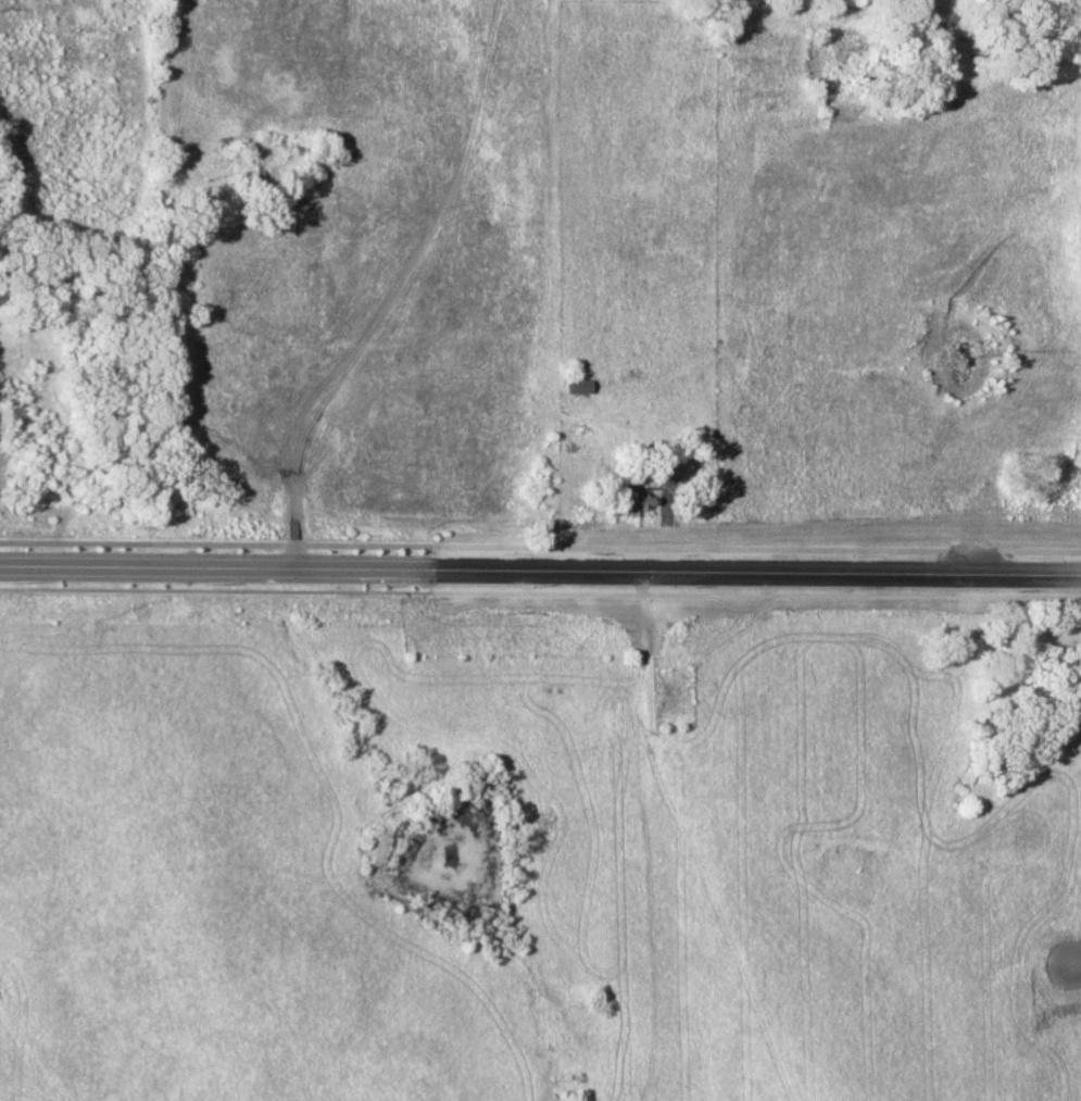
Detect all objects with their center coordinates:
road: (828, 160)
road: (877, 191)
building: (577, 385)
road: (759, 403)
building: (666, 468)
road: (986, 475)
road: (965, 476)
road: (540, 567)
road: (1076, 965)

